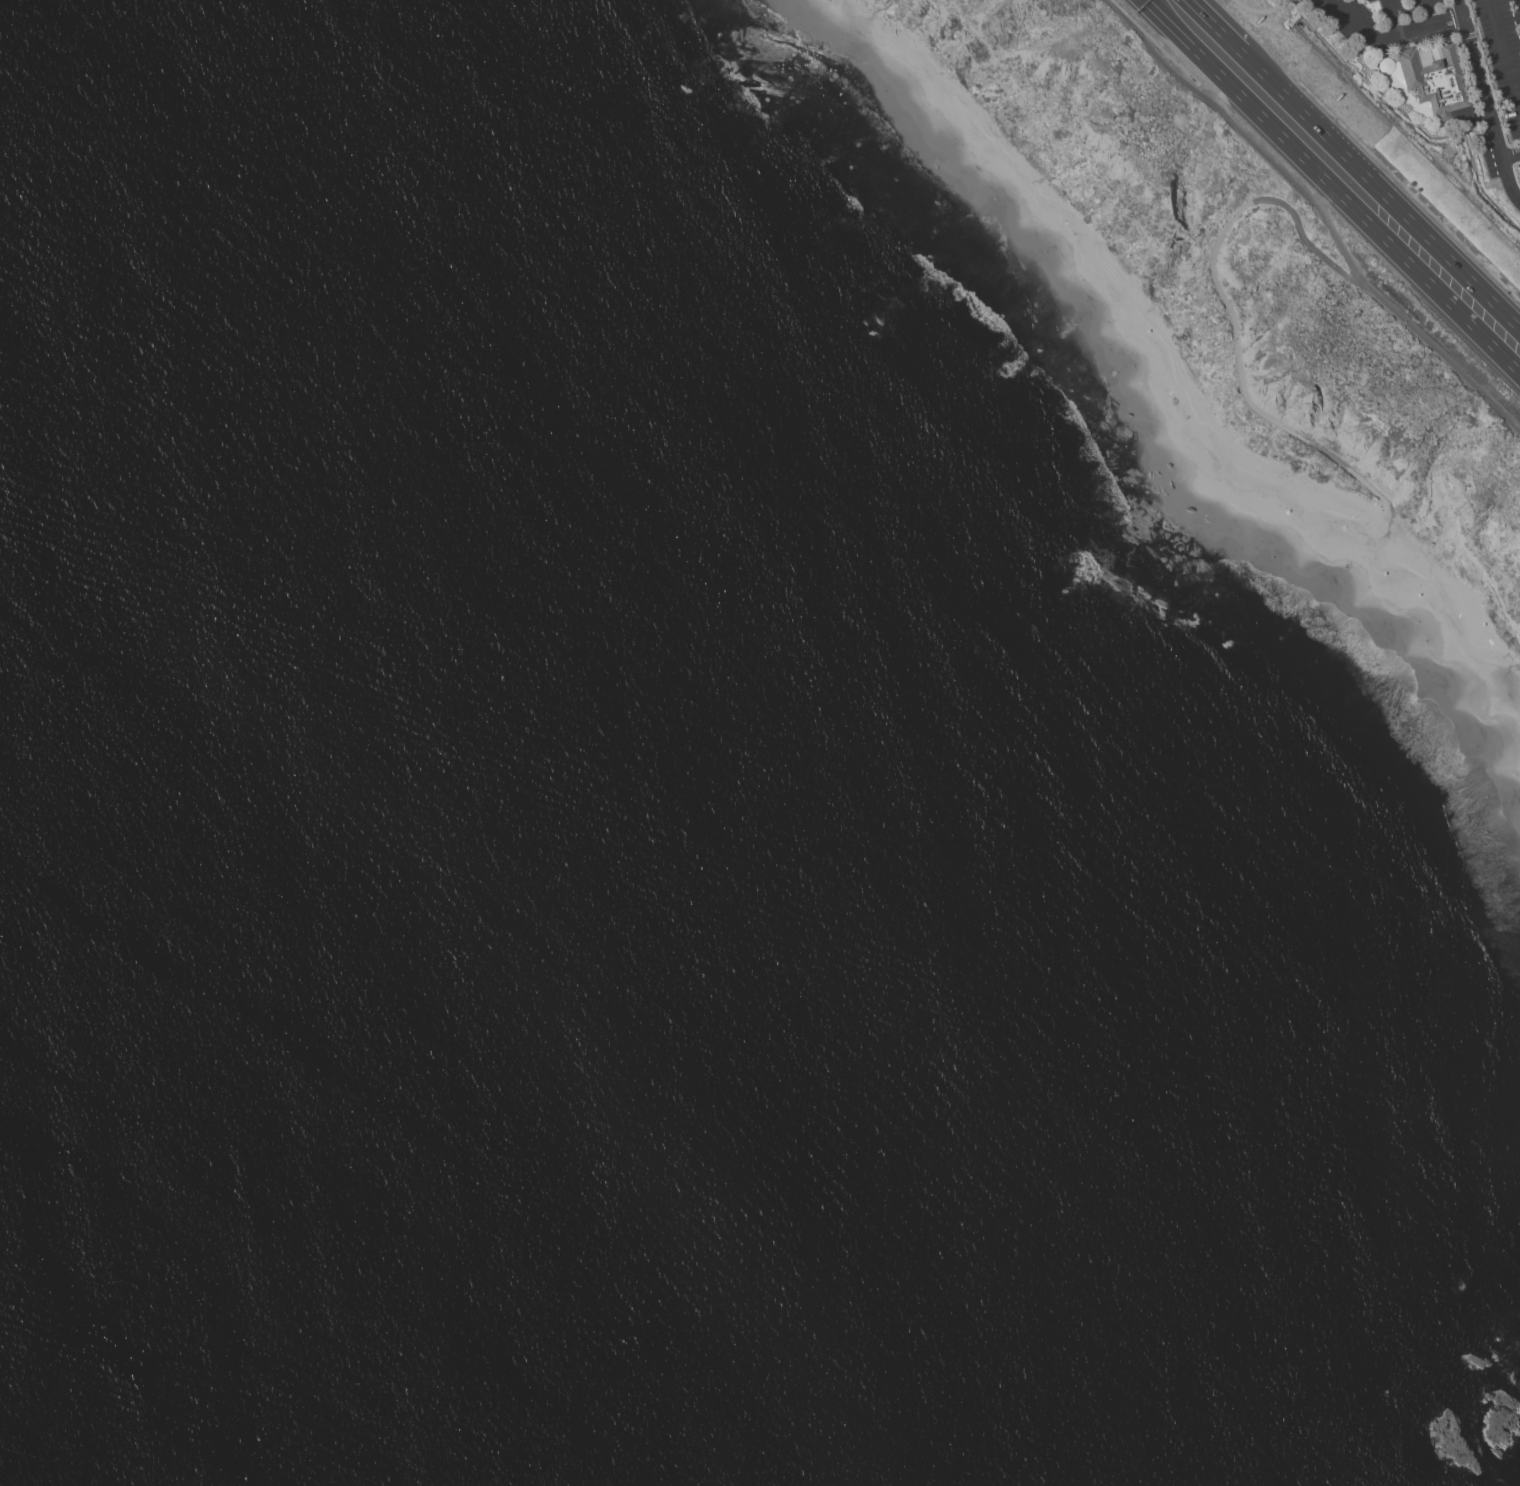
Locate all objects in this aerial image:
road: (1425, 11)
road: (1389, 17)
parking lot: (1385, 23)
road: (1214, 26)
road: (1336, 32)
road: (1387, 35)
road: (1504, 56)
building: (1433, 81)
parking lot: (1495, 83)
road: (1483, 99)
road: (1511, 155)
road: (1331, 187)
road: (1380, 191)
road: (1319, 212)
road: (1305, 239)
road: (1238, 380)

